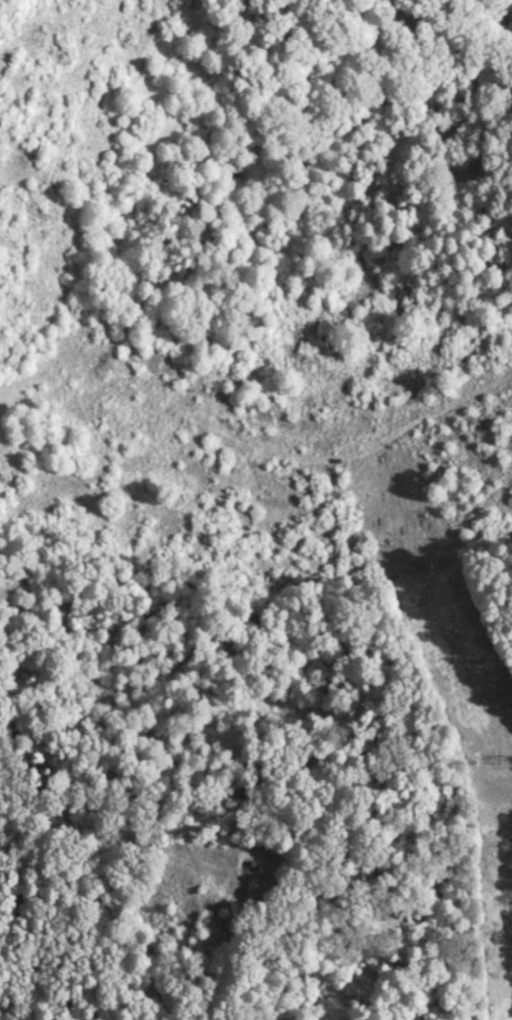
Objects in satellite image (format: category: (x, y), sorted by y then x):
power tower: (510, 753)
road: (262, 846)

